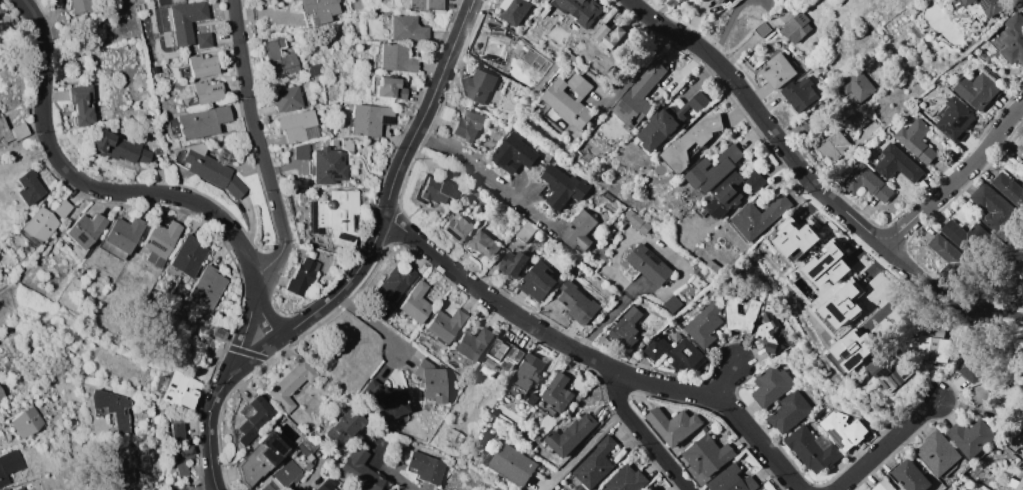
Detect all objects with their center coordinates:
building: (679, 0)
building: (543, 1)
building: (719, 1)
building: (426, 5)
building: (82, 6)
building: (987, 6)
building: (140, 7)
building: (581, 9)
building: (514, 10)
building: (317, 11)
building: (545, 12)
building: (187, 19)
building: (762, 28)
building: (796, 28)
building: (407, 29)
building: (609, 35)
building: (1013, 39)
building: (204, 40)
building: (981, 55)
building: (395, 58)
building: (279, 59)
building: (202, 65)
building: (779, 70)
road: (635, 71)
building: (478, 85)
building: (389, 88)
building: (857, 88)
building: (977, 89)
building: (207, 91)
building: (799, 94)
building: (638, 96)
building: (289, 98)
building: (569, 100)
building: (929, 100)
building: (82, 103)
building: (369, 119)
building: (858, 119)
building: (669, 120)
building: (955, 120)
building: (807, 121)
building: (202, 122)
building: (296, 125)
building: (467, 125)
building: (19, 130)
building: (3, 131)
building: (916, 139)
building: (334, 141)
building: (691, 141)
building: (348, 144)
building: (833, 145)
building: (119, 148)
building: (298, 152)
building: (514, 153)
road: (790, 158)
building: (897, 164)
building: (328, 165)
building: (206, 168)
building: (713, 169)
building: (451, 172)
road: (487, 176)
road: (955, 176)
building: (755, 181)
building: (866, 182)
building: (563, 186)
building: (29, 187)
building: (235, 187)
building: (1008, 187)
building: (438, 190)
road: (124, 192)
road: (280, 192)
building: (545, 193)
building: (725, 195)
building: (62, 208)
building: (996, 211)
building: (338, 216)
building: (759, 217)
building: (637, 220)
building: (39, 224)
building: (458, 228)
building: (525, 231)
building: (578, 231)
building: (85, 233)
building: (124, 233)
building: (966, 237)
building: (795, 239)
building: (161, 242)
road: (54, 243)
building: (484, 244)
building: (310, 252)
building: (948, 252)
building: (187, 255)
building: (513, 265)
building: (828, 265)
road: (360, 266)
building: (649, 266)
building: (714, 268)
building: (303, 278)
building: (536, 281)
building: (393, 284)
building: (208, 286)
building: (415, 302)
building: (577, 304)
building: (672, 304)
building: (842, 305)
building: (752, 307)
road: (607, 316)
road: (373, 321)
building: (445, 324)
building: (703, 324)
building: (189, 327)
building: (625, 327)
building: (936, 330)
building: (218, 333)
building: (772, 333)
road: (119, 334)
building: (472, 346)
building: (853, 349)
building: (933, 349)
building: (673, 352)
building: (502, 356)
road: (597, 359)
building: (329, 361)
building: (973, 366)
building: (892, 369)
building: (525, 375)
building: (431, 381)
road: (730, 382)
building: (291, 384)
building: (770, 385)
building: (880, 387)
building: (178, 389)
building: (558, 392)
building: (883, 392)
building: (979, 394)
building: (1, 396)
building: (1010, 397)
building: (384, 399)
building: (531, 400)
building: (114, 409)
building: (789, 412)
building: (254, 419)
building: (27, 422)
building: (672, 425)
building: (344, 427)
building: (843, 430)
building: (176, 431)
building: (570, 435)
road: (650, 436)
building: (970, 437)
building: (480, 445)
road: (891, 446)
road: (583, 447)
building: (1010, 448)
building: (302, 449)
building: (812, 449)
road: (590, 450)
building: (937, 452)
building: (707, 455)
building: (129, 458)
building: (260, 459)
building: (183, 460)
building: (595, 464)
building: (9, 465)
building: (512, 465)
building: (399, 467)
building: (426, 467)
building: (359, 470)
building: (287, 473)
road: (395, 476)
building: (910, 476)
building: (625, 480)
building: (731, 480)
building: (1010, 481)
building: (883, 485)
building: (1020, 485)
building: (270, 486)
building: (325, 486)
building: (19, 488)
building: (6, 489)
building: (167, 489)
building: (307, 489)

